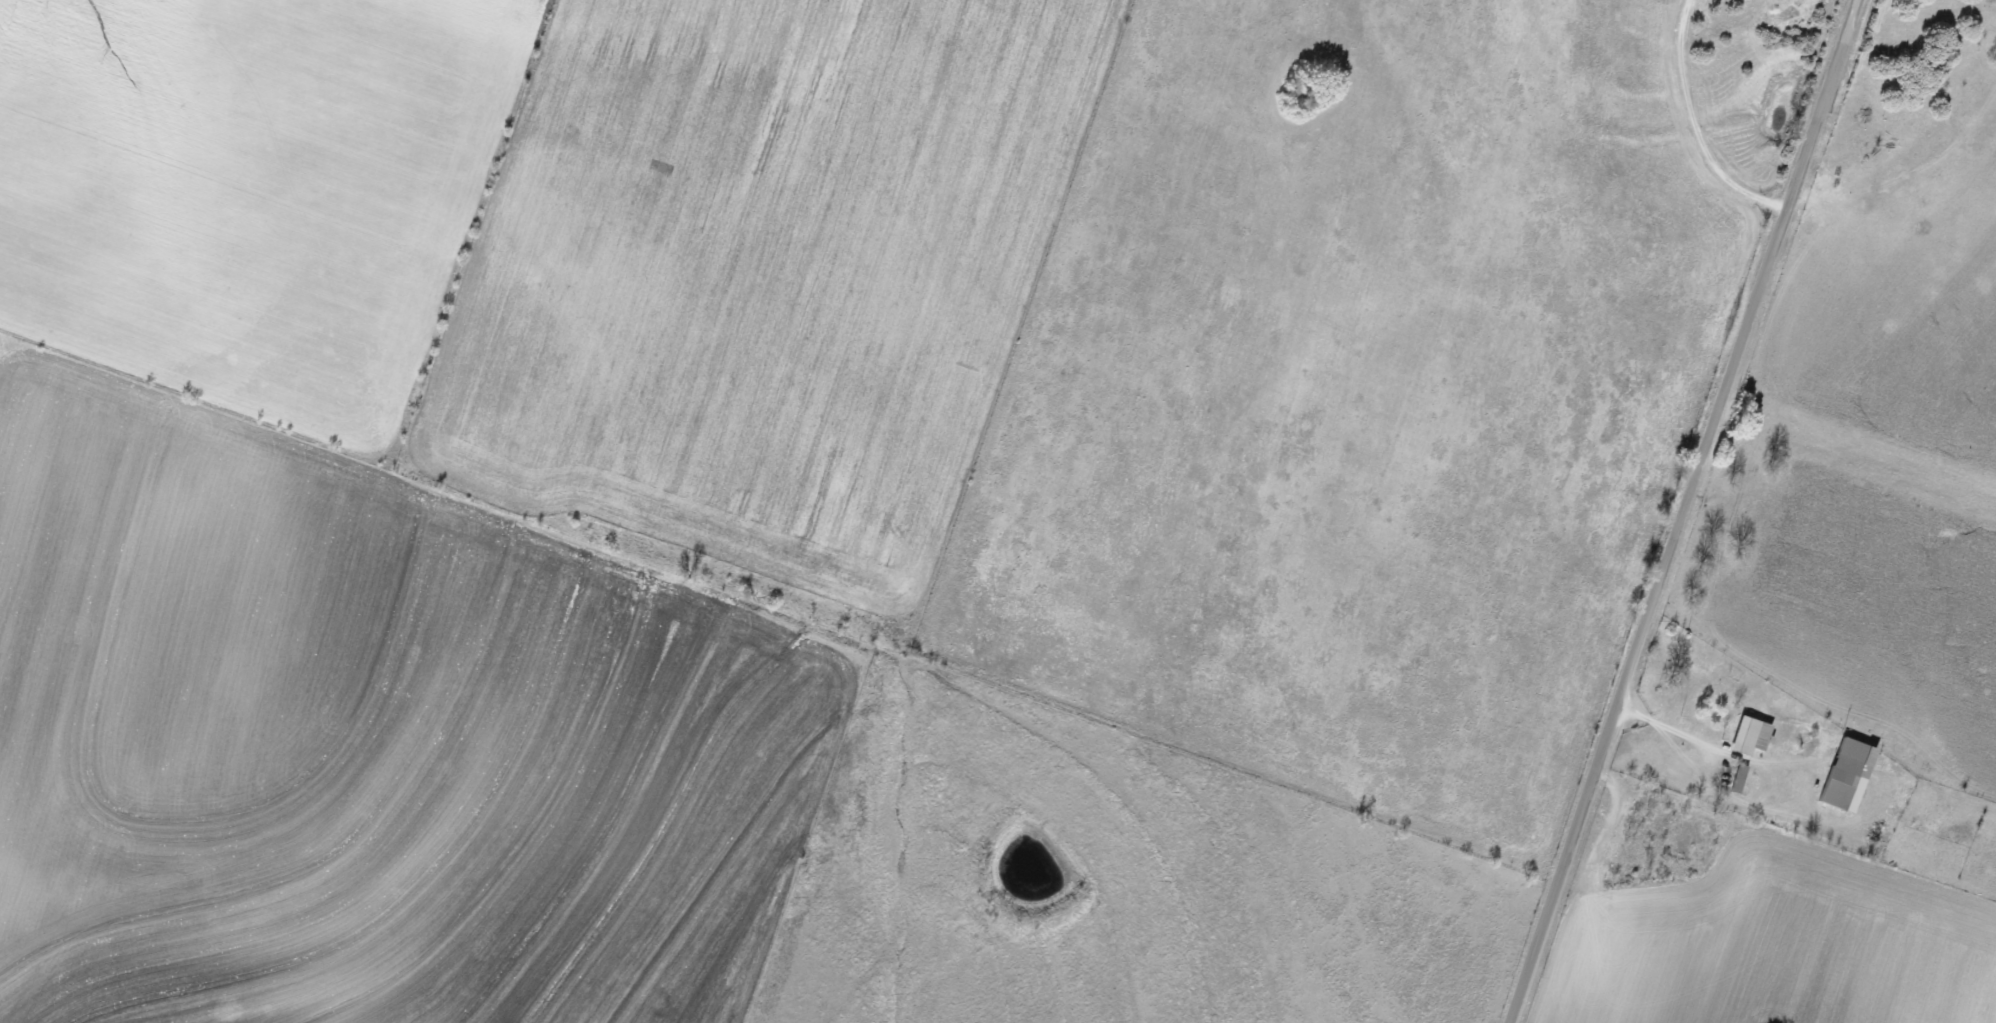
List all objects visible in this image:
road: (1926, 76)
road: (1701, 511)
building: (1750, 734)
building: (1847, 774)
building: (1738, 777)

